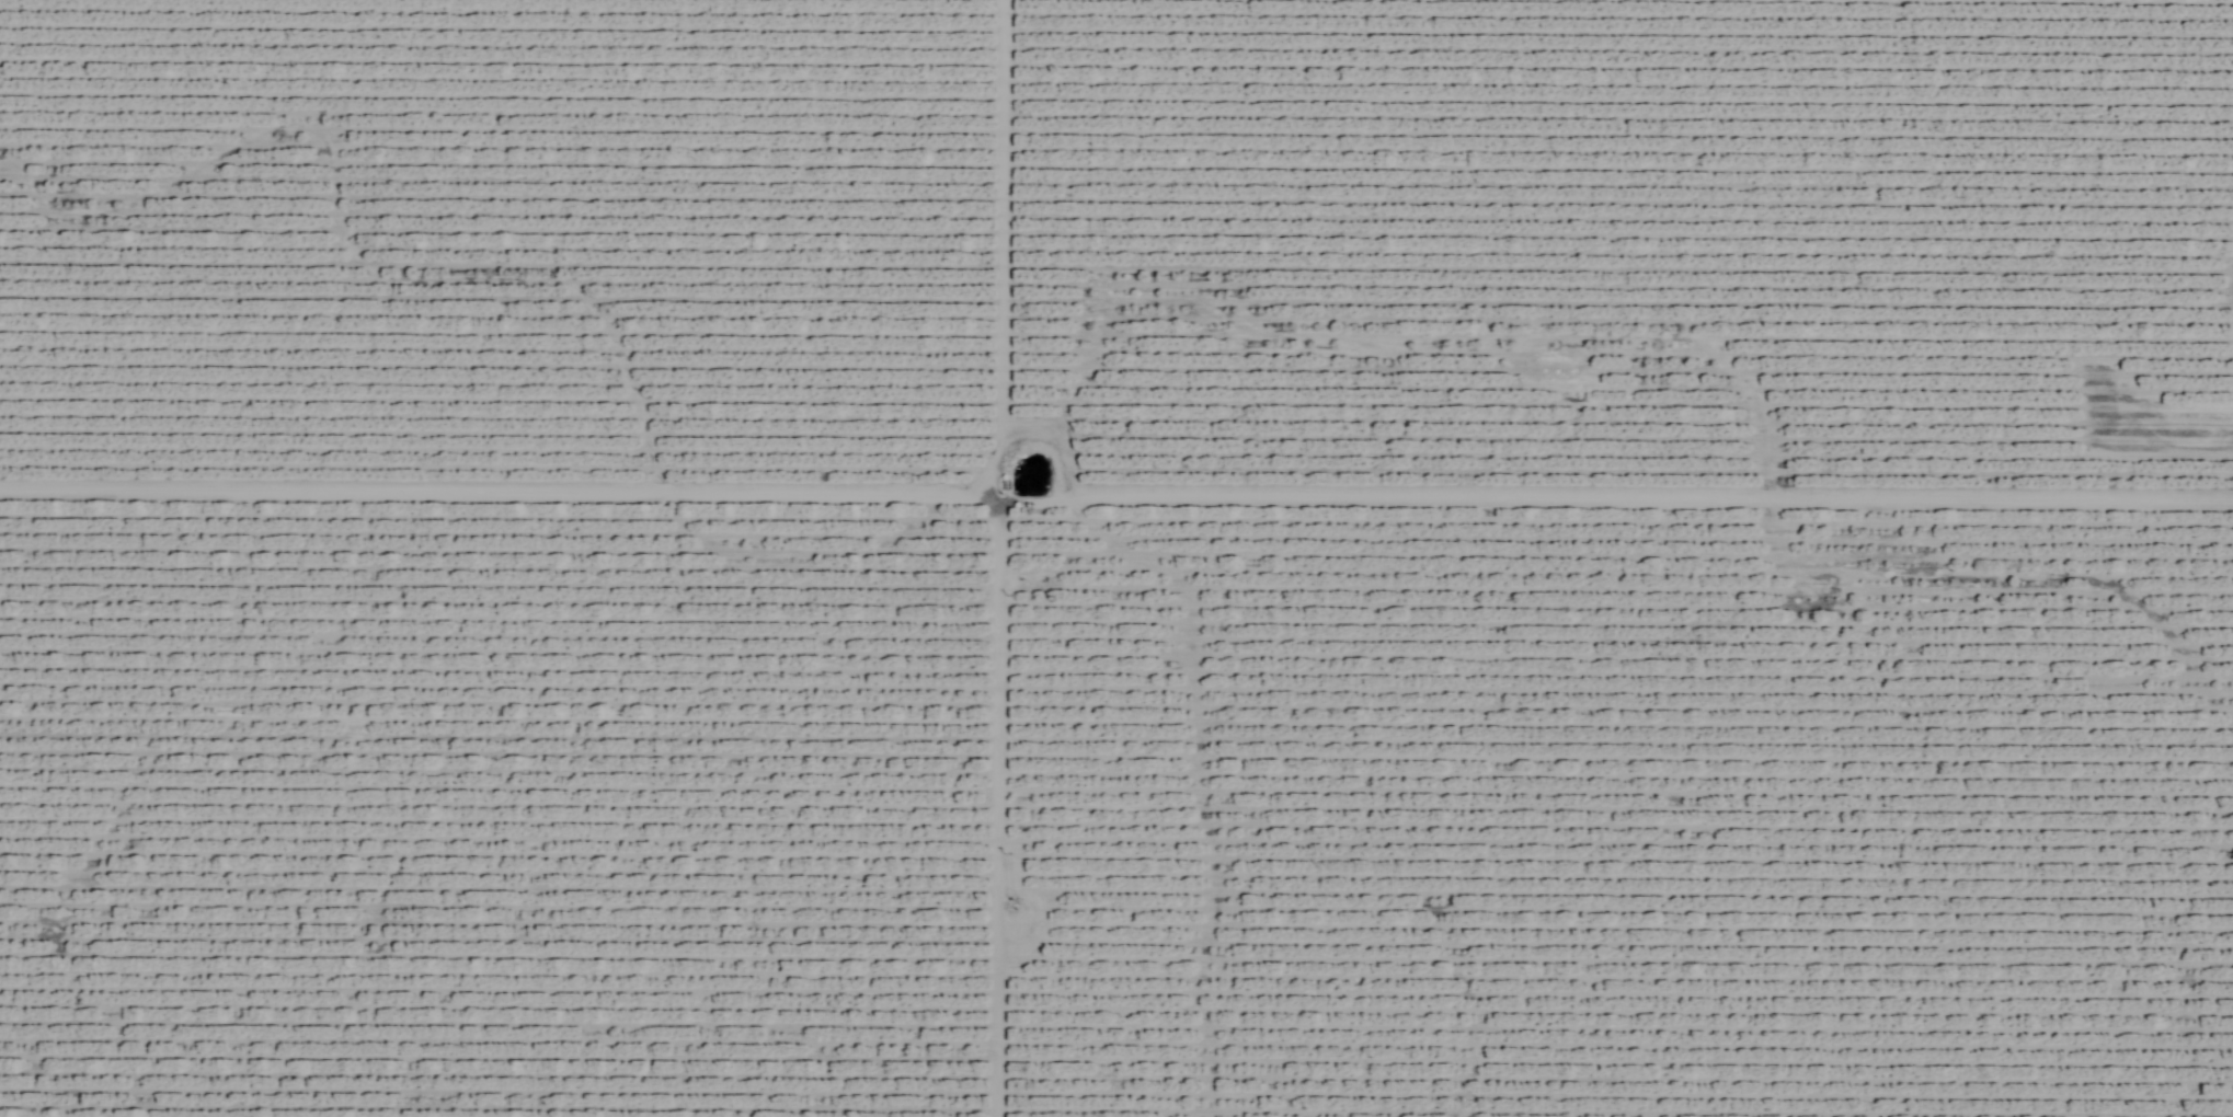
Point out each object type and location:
crop: (1116, 558)

